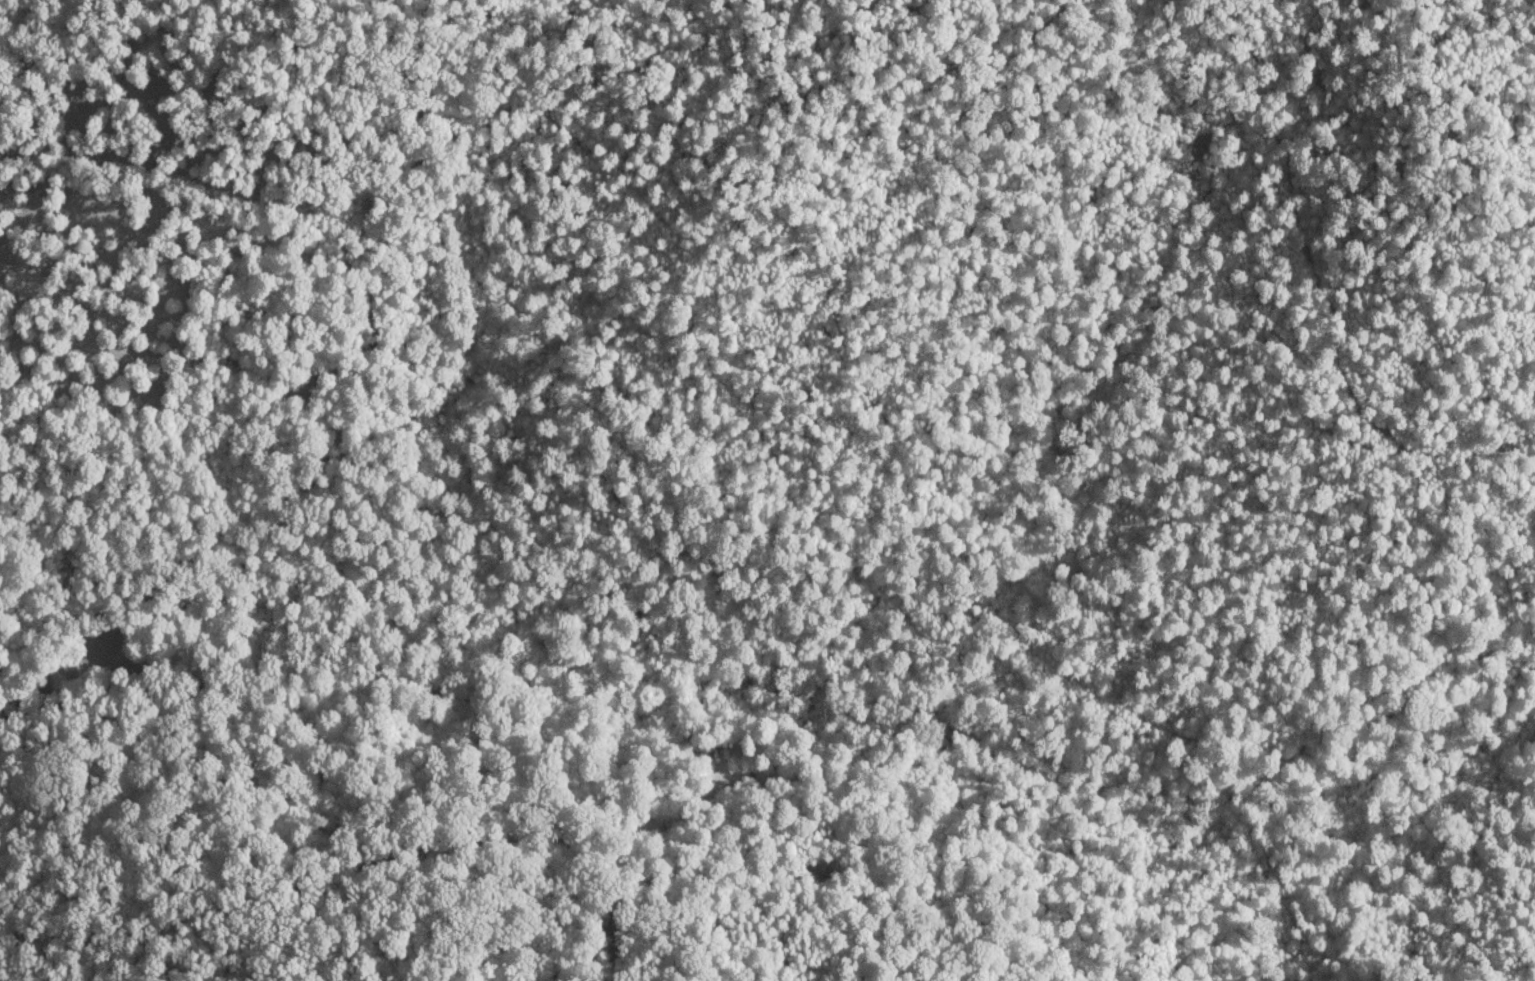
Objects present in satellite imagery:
road: (24, 692)

